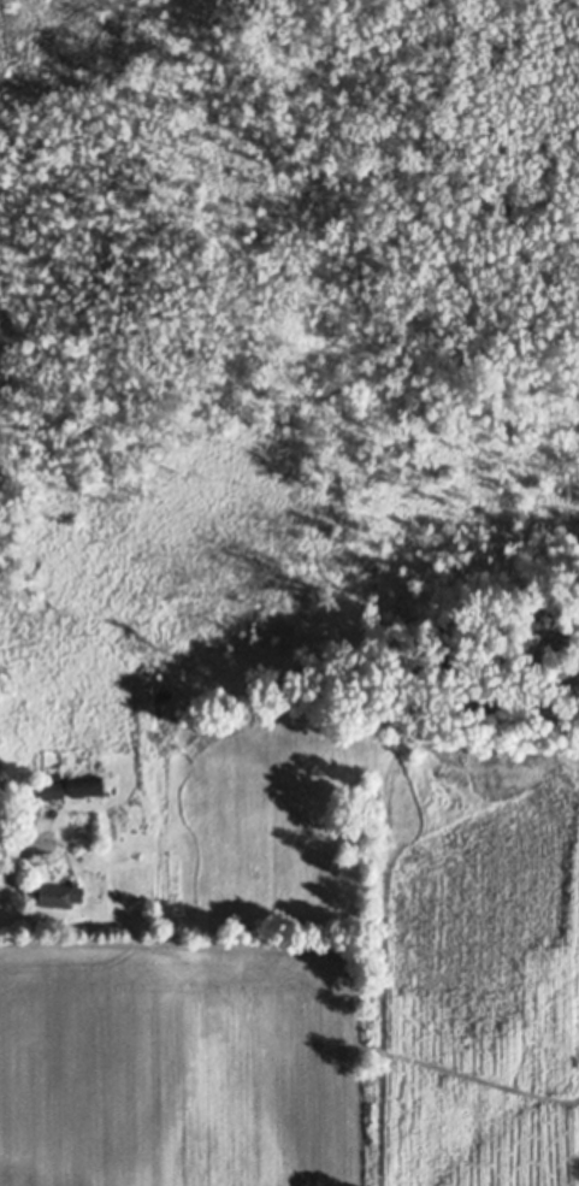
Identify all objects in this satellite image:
building: (87, 783)
building: (51, 784)
road: (13, 849)
building: (58, 890)

